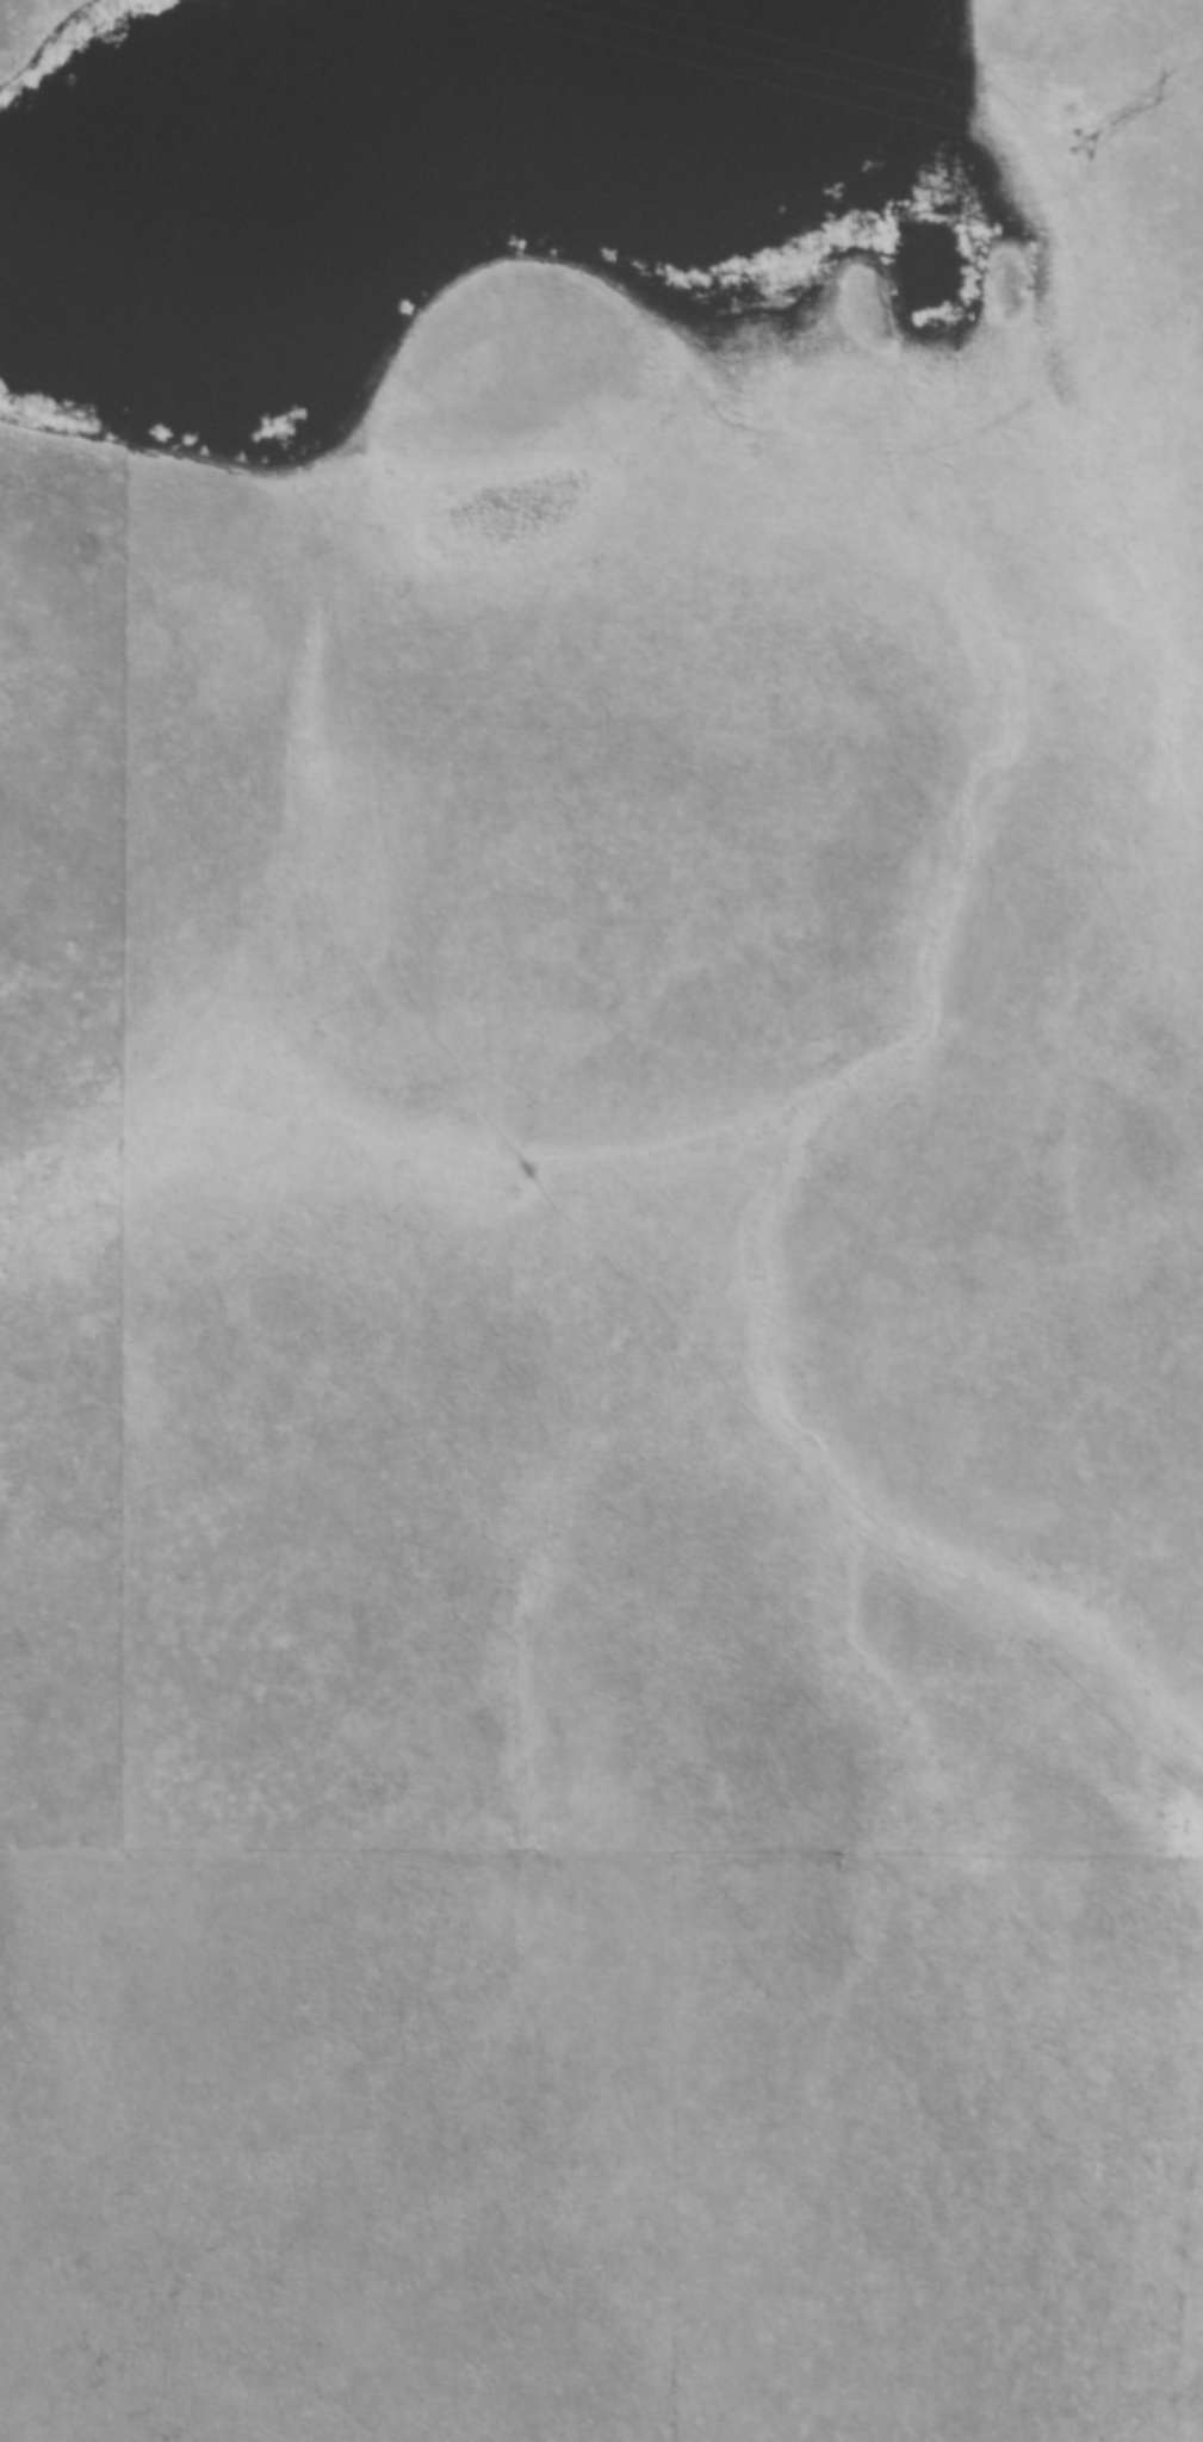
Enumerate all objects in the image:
power tower: (1103, 147)

